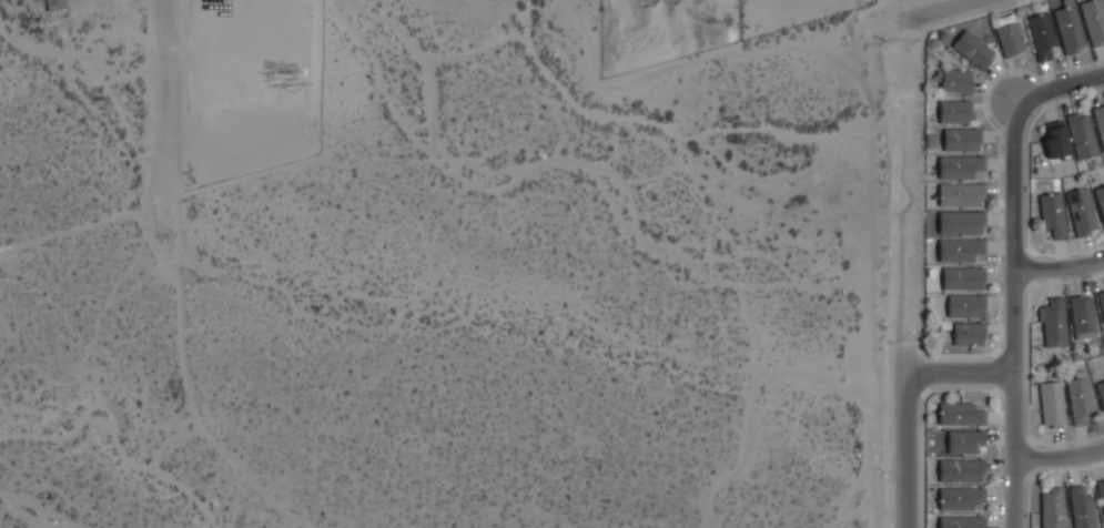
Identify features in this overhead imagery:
road: (968, 1)
building: (54, 4)
building: (1093, 21)
building: (1068, 29)
building: (1009, 35)
building: (1041, 37)
building: (972, 50)
building: (953, 81)
road: (1059, 88)
building: (954, 112)
road: (158, 114)
building: (1100, 122)
building: (1082, 135)
building: (961, 140)
building: (1055, 140)
building: (959, 166)
building: (961, 195)
building: (1100, 201)
building: (1081, 212)
building: (1052, 214)
building: (961, 223)
building: (959, 250)
road: (1059, 270)
building: (962, 278)
building: (1101, 304)
building: (965, 306)
road: (1013, 314)
building: (1082, 317)
building: (1052, 322)
building: (968, 334)
road: (954, 376)
building: (1101, 393)
building: (1078, 397)
building: (1051, 404)
building: (960, 414)
building: (964, 441)
road: (899, 454)
road: (1063, 461)
building: (960, 470)
building: (1101, 491)
building: (960, 498)
building: (1052, 508)
building: (1081, 508)
building: (961, 522)

